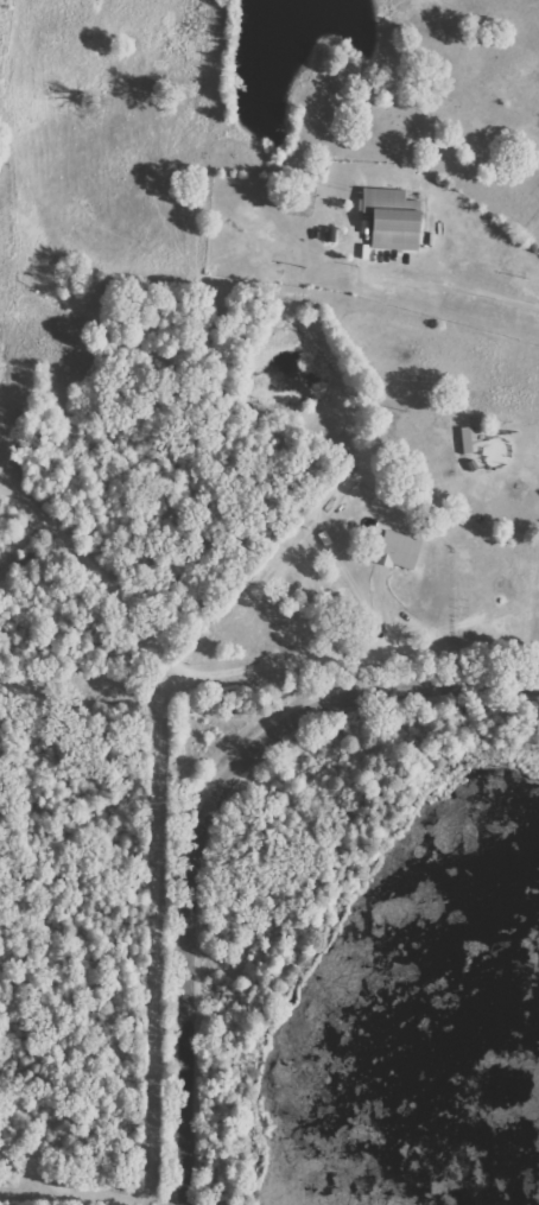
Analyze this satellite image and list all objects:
building: (395, 218)
road: (467, 283)
building: (400, 550)
road: (204, 816)
road: (57, 1187)

